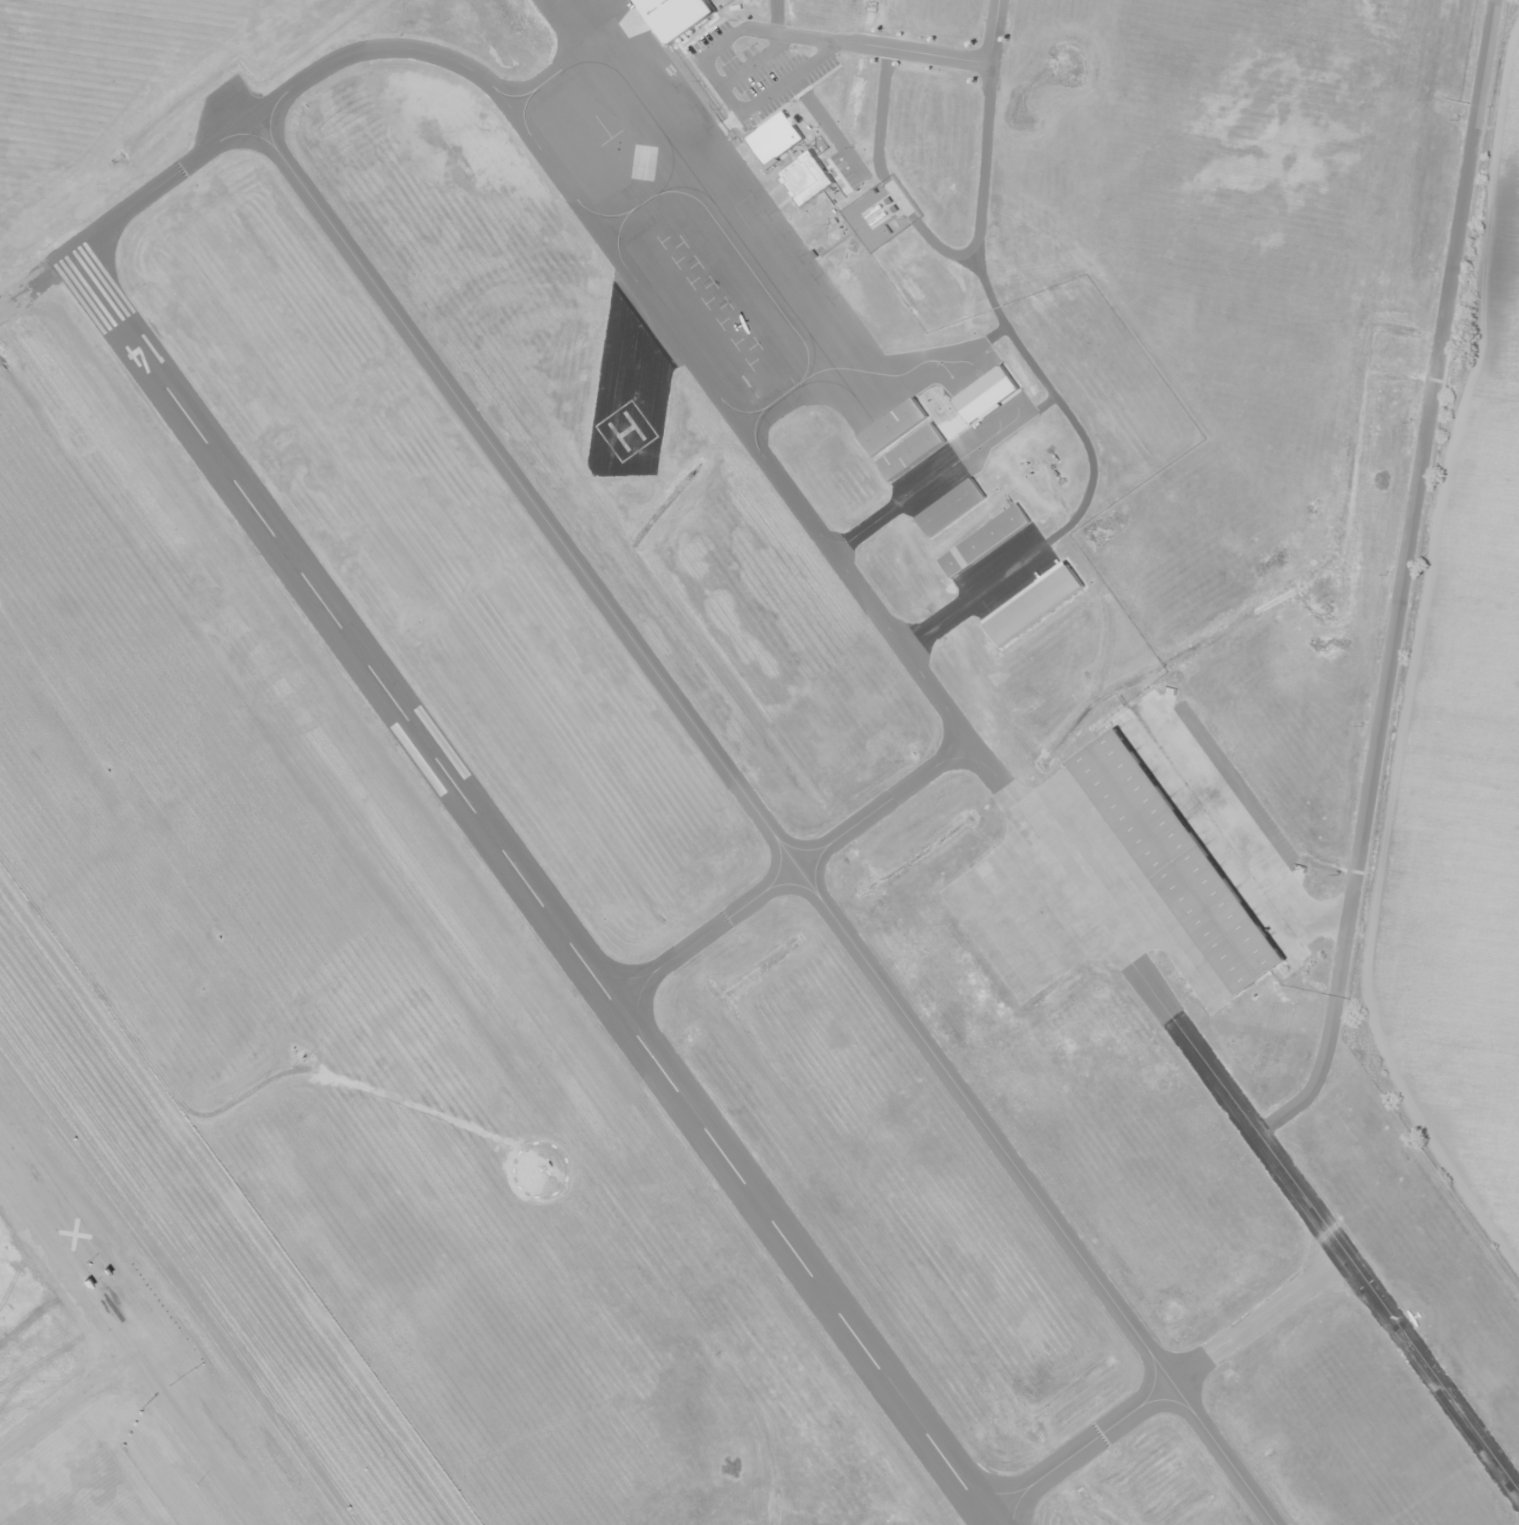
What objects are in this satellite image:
building: (673, 15)
road: (940, 56)
road: (753, 61)
road: (708, 77)
road: (827, 128)
building: (771, 138)
airport apron: (711, 225)
building: (890, 426)
helipad: (622, 427)
building: (908, 451)
building: (948, 507)
building: (981, 540)
airport taxiway: (859, 586)
building: (1030, 604)
airport: (764, 720)
road: (1449, 748)
airport taxiway: (762, 821)
building: (1180, 859)
airport taxiway: (791, 871)
airport apron: (1122, 877)
airport runway: (528, 889)
airport apron: (1014, 913)
road: (141, 1331)
airport taxiway: (1166, 1386)

